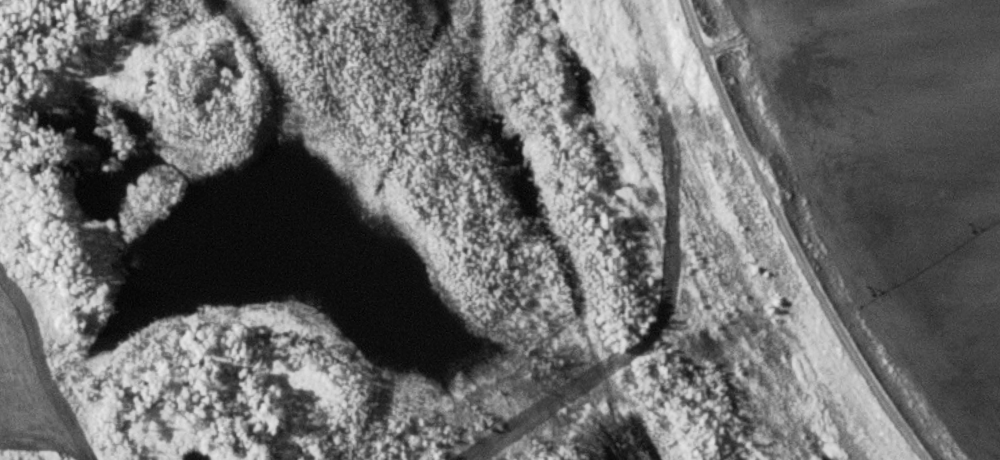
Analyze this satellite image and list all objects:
road: (790, 238)

